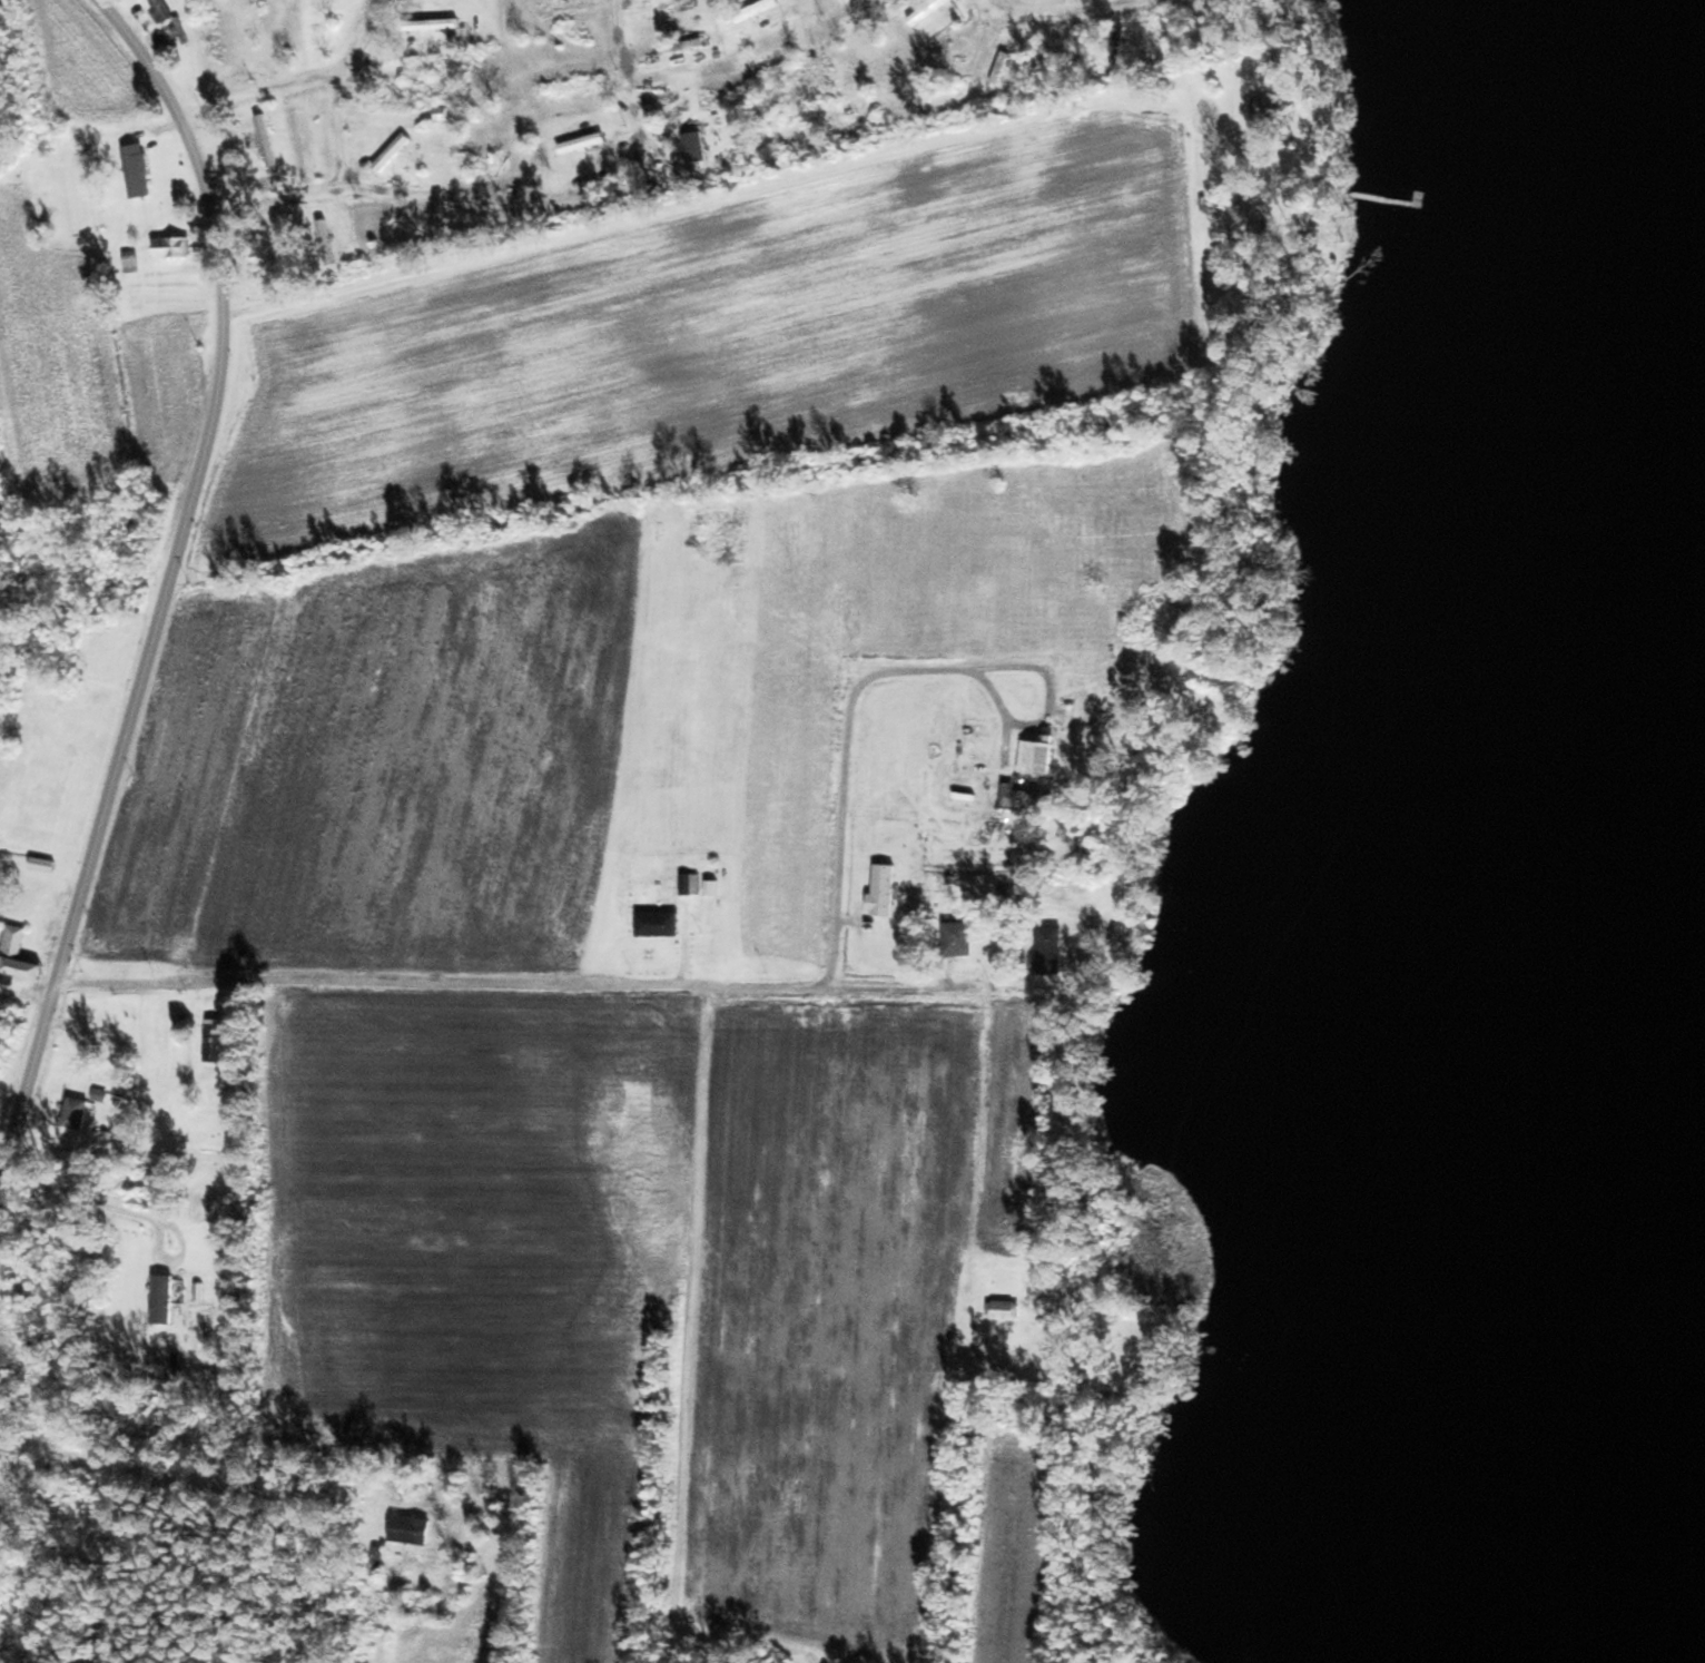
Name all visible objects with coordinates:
building: (164, 10)
building: (758, 10)
building: (927, 11)
building: (433, 24)
building: (264, 29)
building: (858, 30)
building: (216, 38)
building: (947, 43)
building: (686, 46)
building: (1118, 48)
building: (767, 49)
building: (1081, 53)
building: (1042, 61)
building: (1003, 68)
building: (859, 76)
building: (688, 98)
building: (964, 98)
building: (395, 101)
building: (771, 104)
building: (1273, 108)
building: (314, 132)
building: (268, 140)
building: (584, 144)
building: (698, 151)
building: (394, 152)
road: (812, 169)
building: (139, 170)
building: (1240, 220)
building: (176, 246)
building: (134, 262)
road: (166, 598)
building: (1041, 757)
building: (1036, 800)
building: (46, 865)
building: (692, 884)
building: (886, 890)
building: (661, 923)
building: (960, 939)
building: (1051, 951)
building: (18, 958)
road: (553, 978)
building: (217, 1040)
building: (78, 1112)
road: (979, 1114)
road: (258, 1214)
building: (166, 1299)
building: (1006, 1310)
building: (413, 1529)

